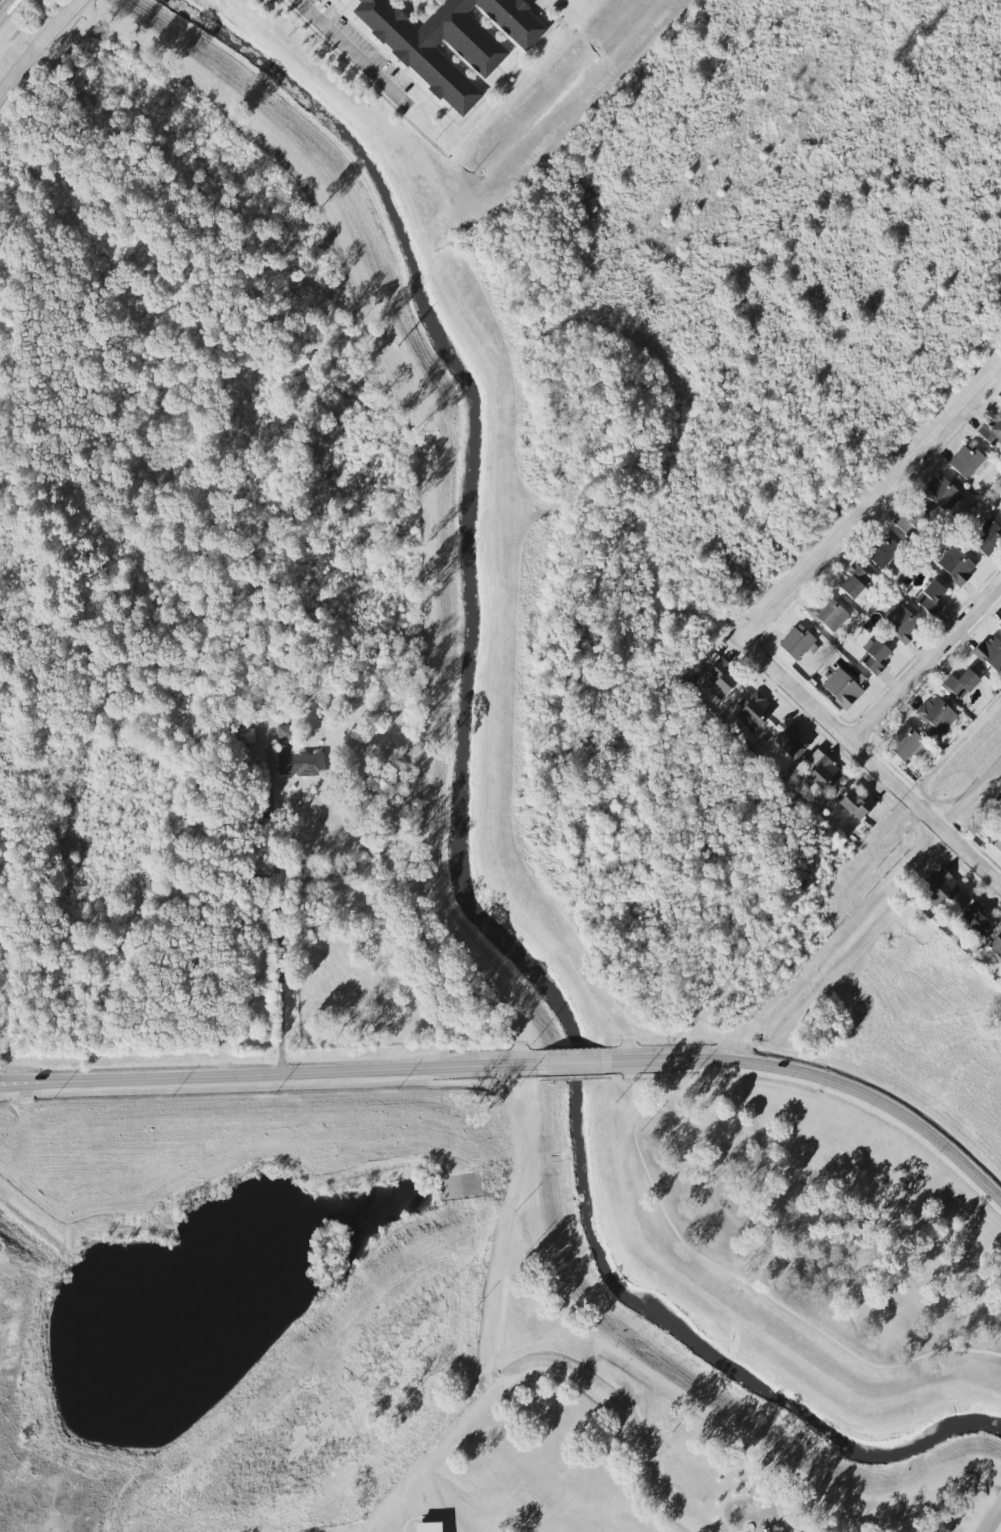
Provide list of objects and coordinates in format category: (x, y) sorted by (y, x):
road: (7, 9)
building: (448, 39)
road: (40, 49)
road: (352, 54)
building: (992, 434)
building: (968, 461)
building: (941, 493)
road: (870, 503)
building: (1000, 510)
building: (910, 519)
building: (986, 539)
building: (883, 550)
building: (956, 567)
building: (856, 582)
building: (930, 597)
building: (829, 613)
building: (1000, 624)
building: (901, 625)
building: (797, 642)
building: (989, 654)
building: (874, 659)
road: (924, 662)
building: (721, 680)
building: (960, 684)
building: (841, 690)
building: (755, 712)
building: (935, 715)
building: (285, 733)
building: (247, 735)
building: (791, 742)
building: (906, 745)
road: (871, 763)
building: (300, 764)
building: (822, 773)
building: (857, 805)
building: (996, 840)
building: (942, 890)
road: (275, 905)
building: (972, 915)
building: (996, 945)
road: (575, 1063)
road: (289, 1075)
road: (826, 1080)
road: (21, 1081)
road: (21, 1084)
road: (622, 1170)
road: (724, 1213)
road: (759, 1215)
road: (503, 1232)
road: (581, 1372)
park: (614, 1434)
road: (996, 1525)
building: (429, 1527)

